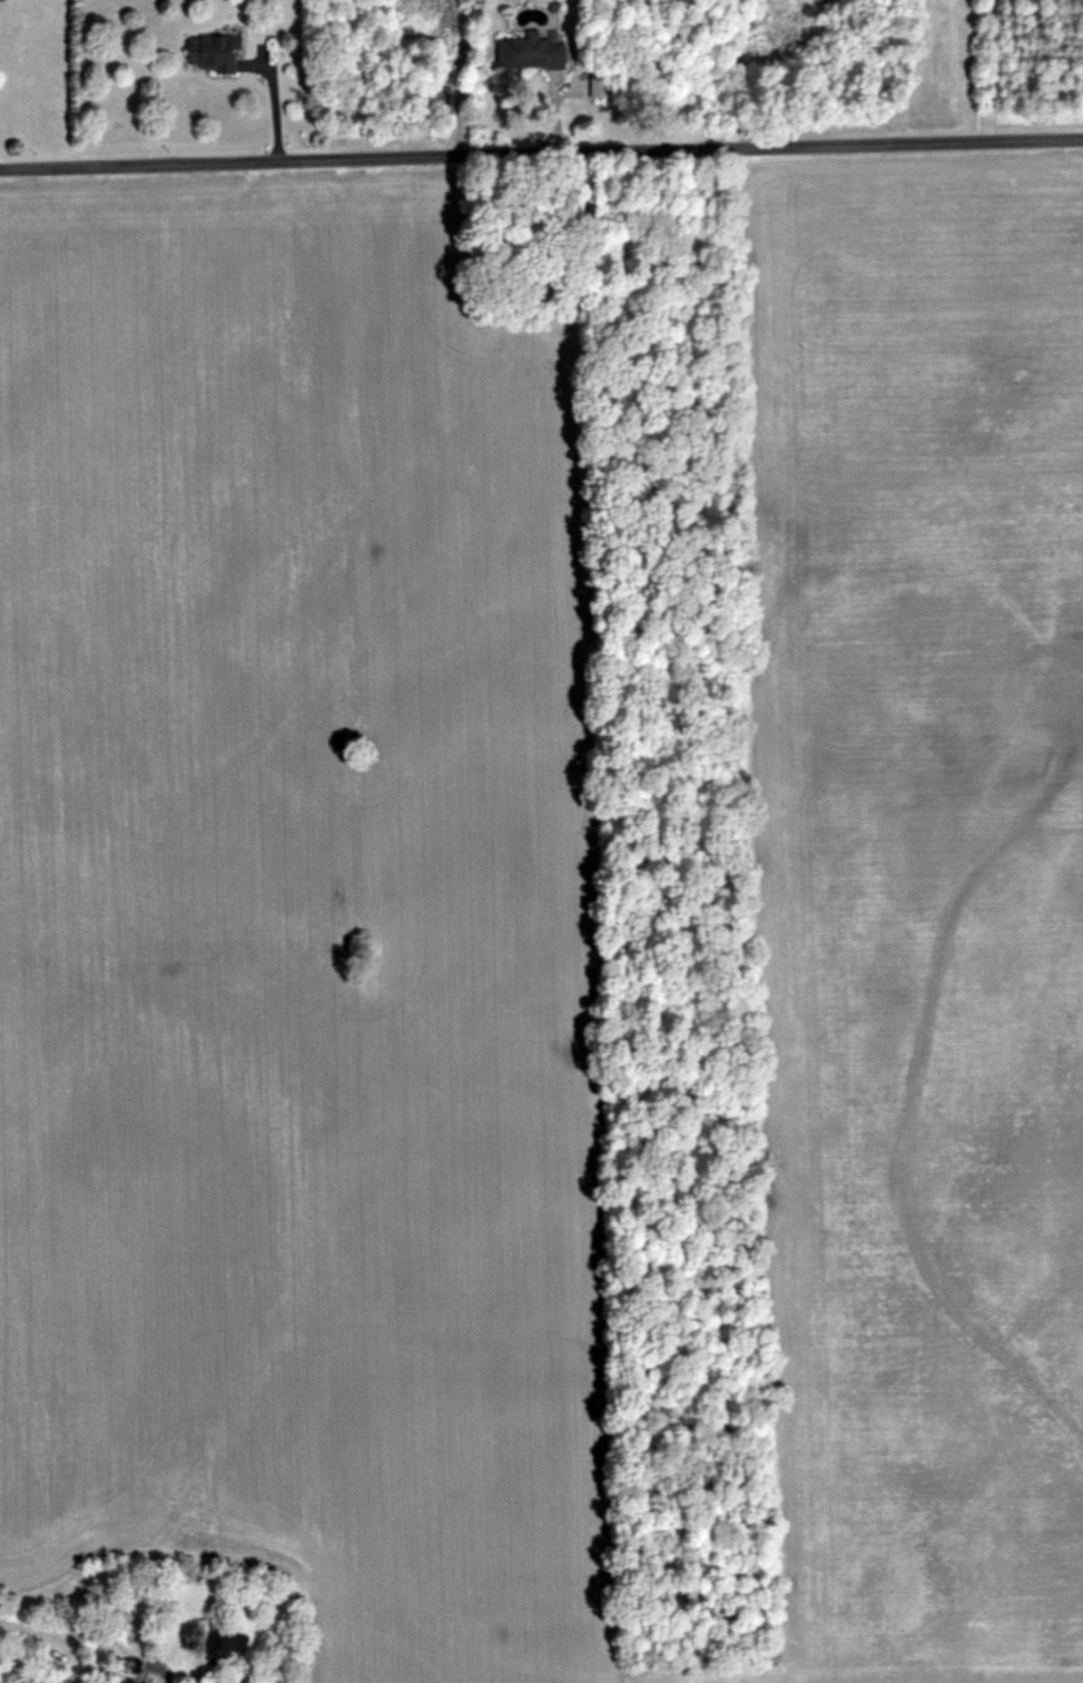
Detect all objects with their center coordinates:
building: (215, 52)
building: (533, 52)
road: (273, 96)
road: (541, 152)
road: (22, 1630)
road: (98, 1643)
building: (228, 1645)

